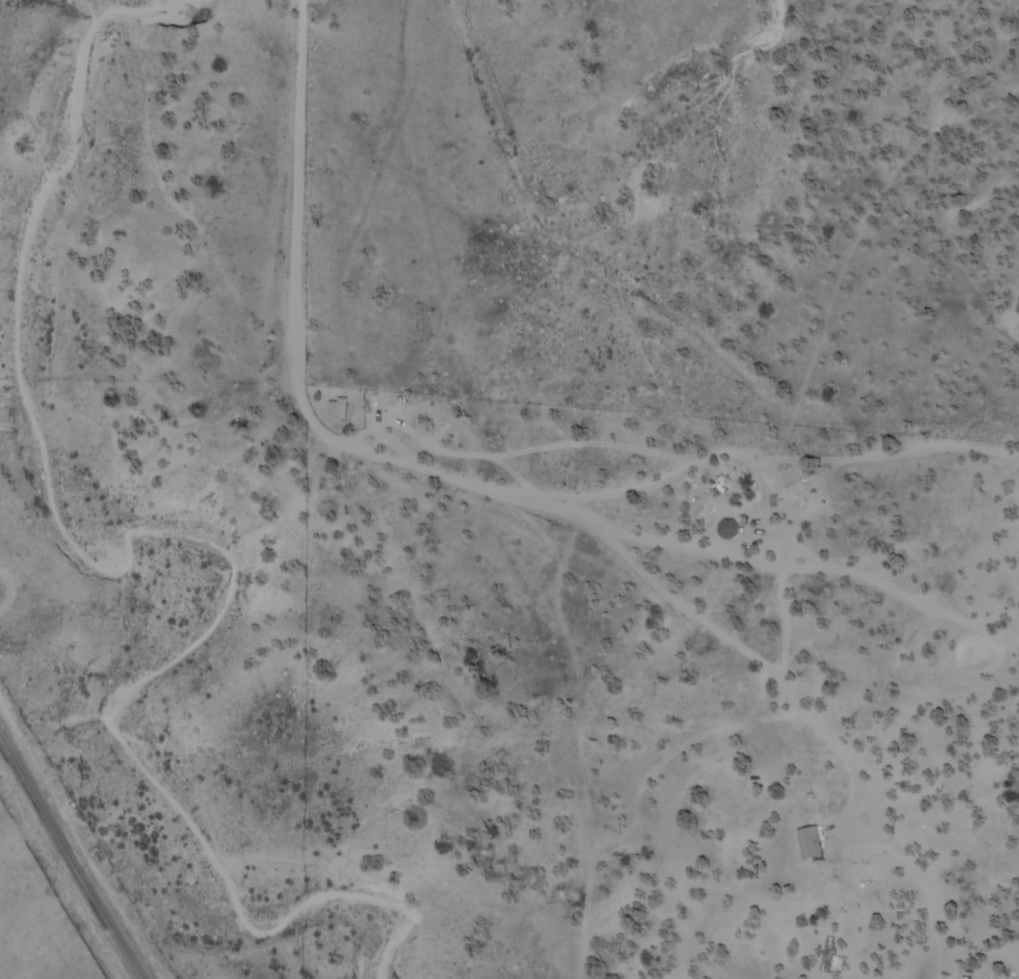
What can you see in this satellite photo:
road: (824, 204)
building: (339, 410)
road: (524, 507)
road: (523, 508)
building: (812, 843)
road: (71, 857)
building: (827, 958)

